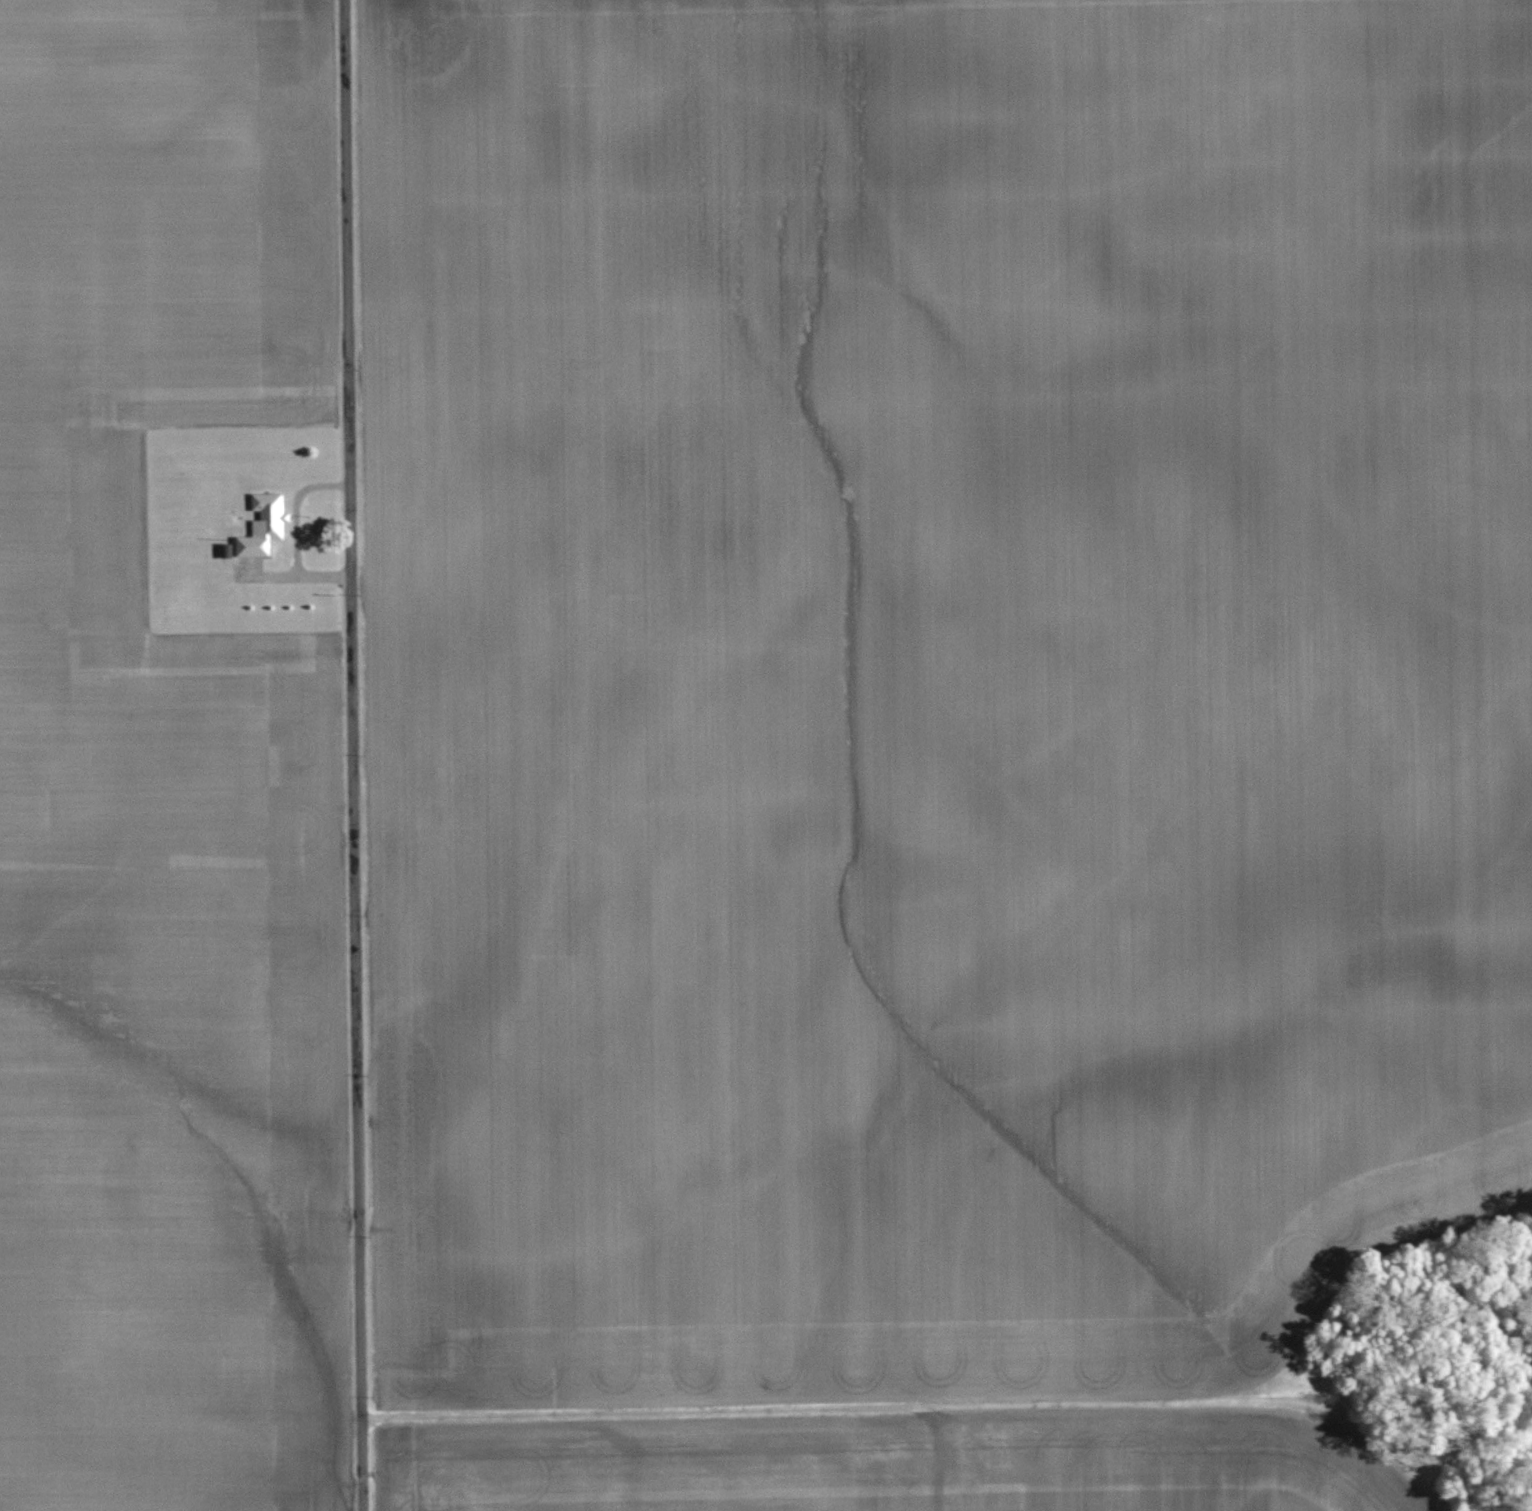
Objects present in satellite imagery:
building: (261, 526)
road: (354, 755)

